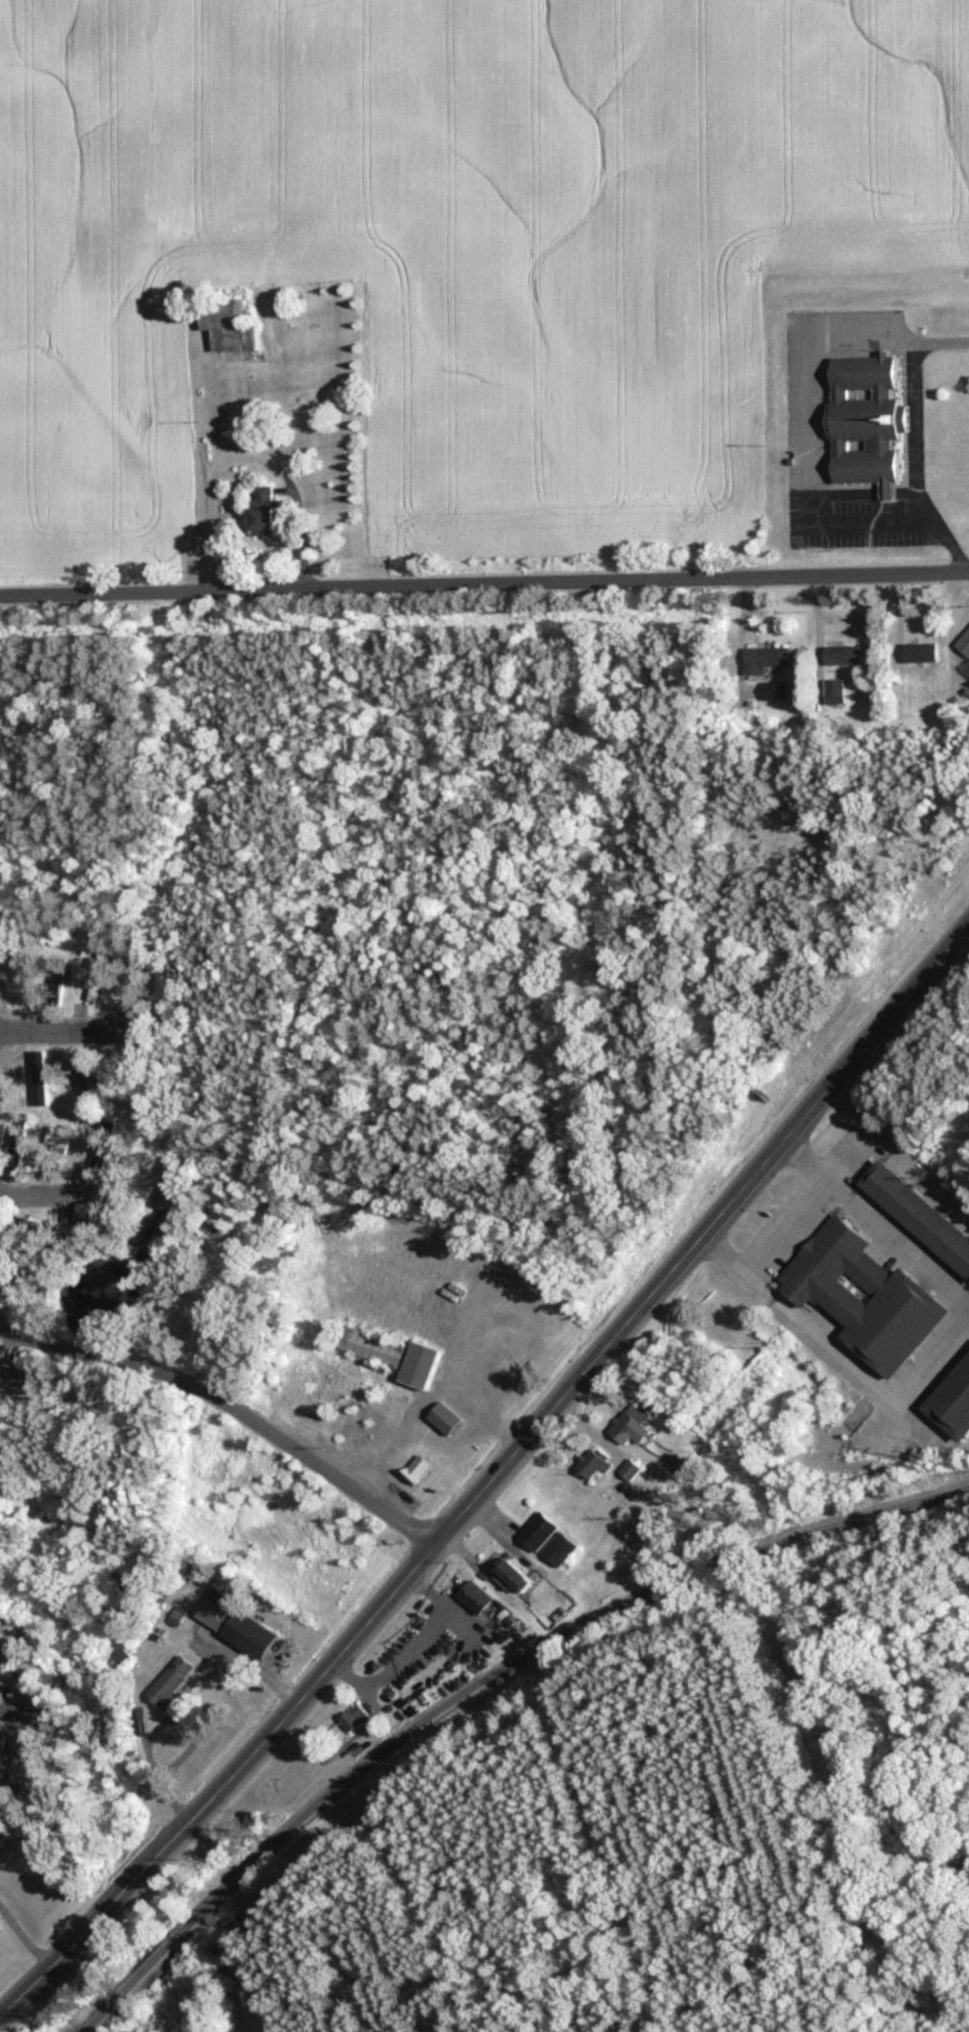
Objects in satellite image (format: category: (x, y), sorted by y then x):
building: (224, 325)
building: (864, 419)
road: (246, 456)
building: (263, 511)
road: (484, 583)
building: (964, 635)
building: (918, 651)
building: (840, 654)
building: (764, 659)
building: (775, 690)
building: (98, 977)
building: (14, 981)
building: (56, 981)
building: (137, 981)
road: (68, 1027)
building: (40, 1078)
building: (58, 1137)
building: (17, 1146)
building: (103, 1146)
road: (43, 1191)
road: (786, 1214)
building: (917, 1214)
building: (30, 1226)
road: (512, 1293)
building: (862, 1295)
building: (367, 1346)
building: (418, 1364)
building: (5, 1378)
road: (429, 1390)
building: (952, 1400)
road: (233, 1405)
building: (443, 1418)
building: (629, 1426)
road: (451, 1430)
building: (593, 1463)
building: (414, 1469)
building: (629, 1469)
road: (495, 1478)
building: (536, 1531)
building: (558, 1547)
building: (510, 1576)
building: (475, 1596)
building: (236, 1623)
road: (616, 1630)
building: (6, 1660)
building: (172, 1681)
railway: (484, 1687)
road: (21, 1710)
building: (353, 1717)
road: (148, 1756)
building: (0, 1760)
park: (646, 1823)
road: (597, 1846)
road: (430, 1911)
road: (21, 1938)
building: (436, 1983)
road: (375, 2030)

